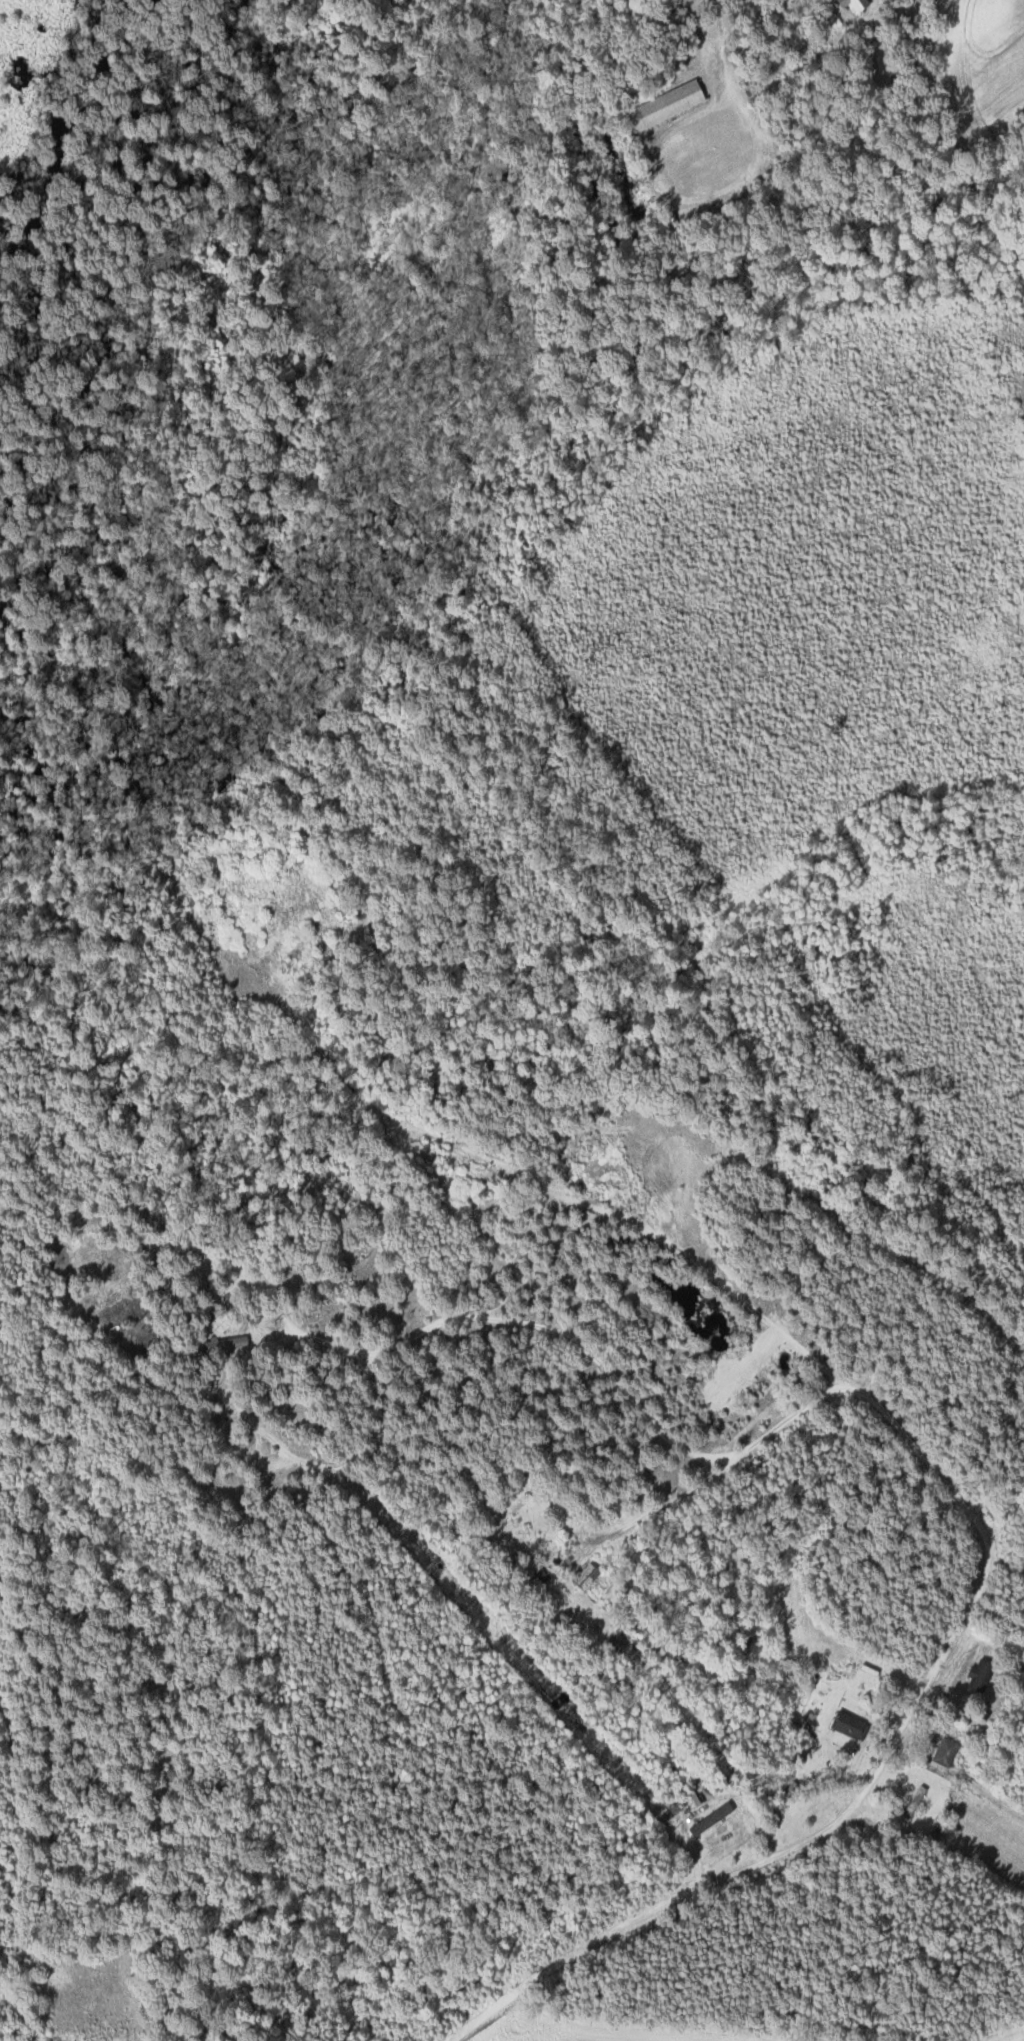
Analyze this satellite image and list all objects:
building: (668, 104)
river: (44, 132)
road: (671, 1501)
road: (968, 1608)
building: (981, 1673)
building: (852, 1724)
building: (946, 1750)
building: (711, 1818)

